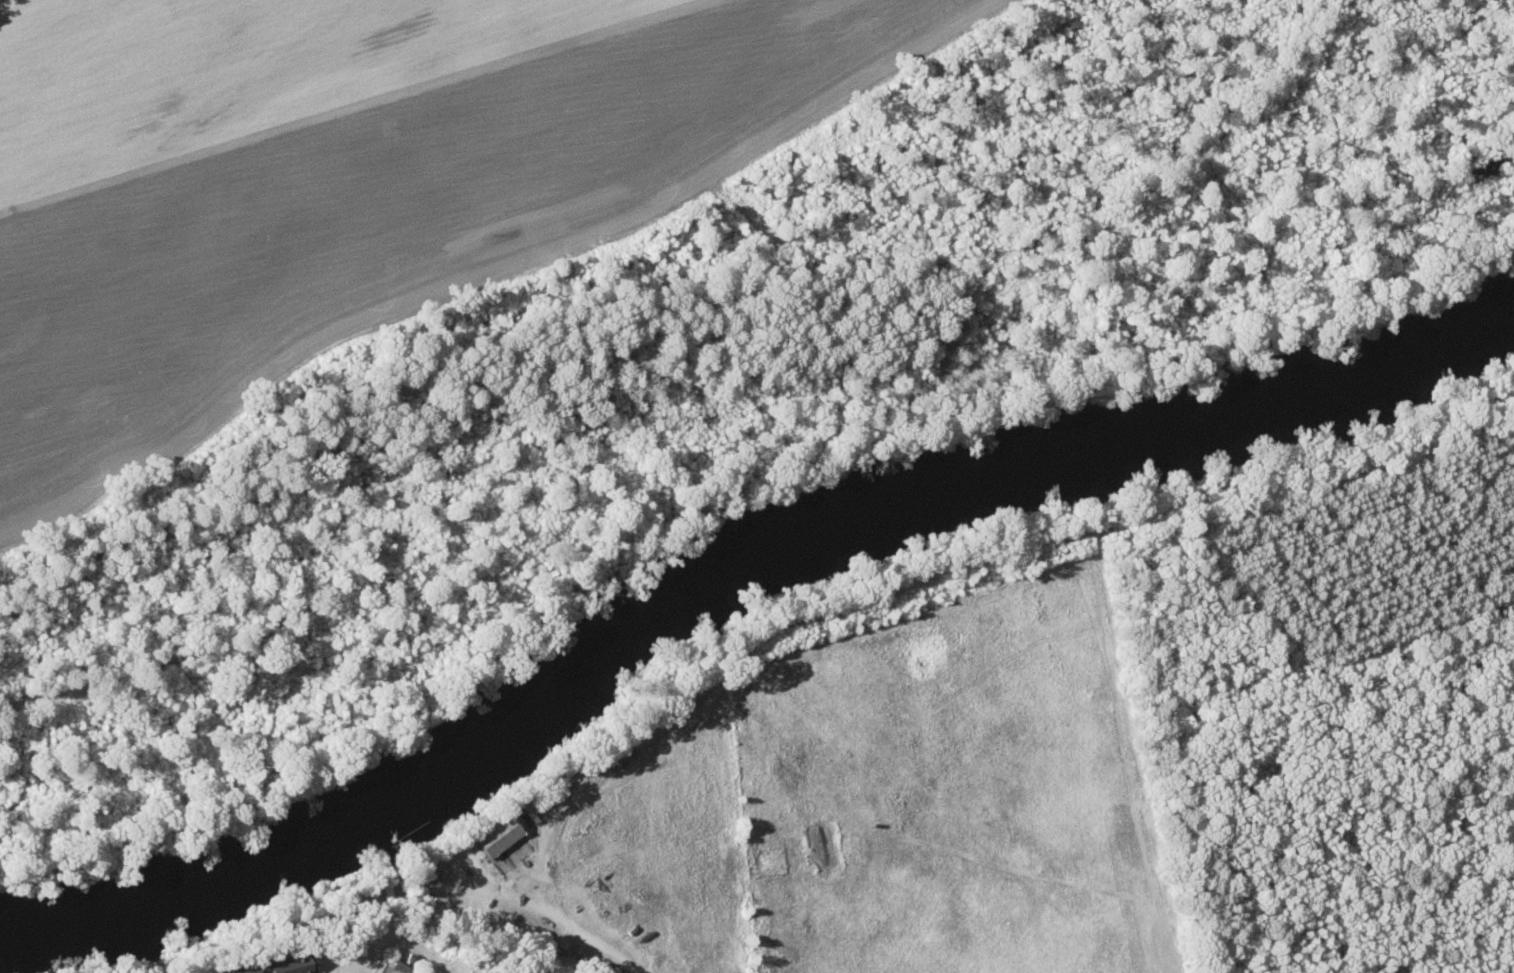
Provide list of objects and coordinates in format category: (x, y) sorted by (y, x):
river: (730, 561)
road: (923, 613)
building: (498, 835)
building: (514, 854)
building: (283, 965)
building: (401, 965)

